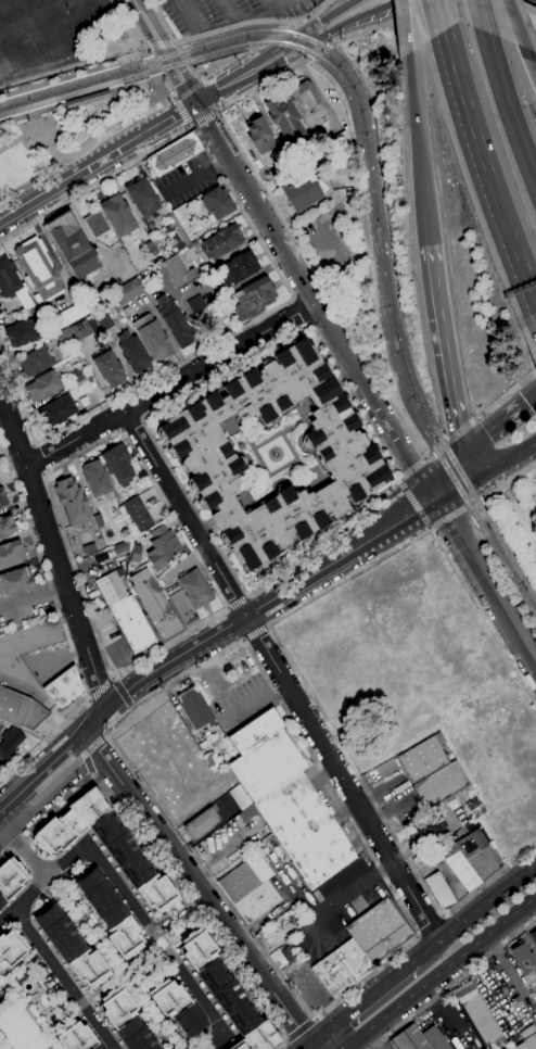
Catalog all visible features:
road: (270, 3)
road: (521, 4)
road: (229, 9)
park: (518, 9)
road: (315, 11)
parking lot: (225, 12)
road: (187, 14)
road: (443, 14)
road: (73, 15)
road: (481, 15)
road: (241, 16)
road: (328, 16)
road: (164, 21)
road: (359, 22)
road: (516, 24)
road: (238, 25)
road: (383, 25)
road: (405, 26)
road: (131, 27)
road: (50, 28)
parking lot: (47, 34)
road: (176, 42)
road: (305, 42)
road: (162, 46)
road: (146, 48)
road: (167, 48)
road: (10, 50)
road: (320, 50)
road: (159, 52)
road: (131, 58)
road: (532, 60)
railway: (117, 62)
road: (154, 66)
road: (246, 74)
road: (143, 83)
road: (265, 84)
road: (166, 87)
railway: (127, 88)
road: (174, 97)
building: (88, 99)
traffic signals: (195, 101)
building: (307, 104)
road: (508, 108)
road: (183, 111)
road: (217, 112)
road: (413, 117)
building: (285, 118)
road: (204, 119)
road: (192, 126)
building: (259, 135)
road: (86, 146)
building: (335, 147)
building: (174, 154)
road: (97, 160)
railway: (378, 160)
building: (302, 163)
road: (485, 168)
building: (286, 173)
railway: (371, 179)
parking lot: (187, 181)
building: (305, 190)
building: (142, 198)
building: (217, 203)
road: (425, 208)
building: (117, 215)
building: (97, 224)
building: (175, 231)
building: (222, 241)
building: (74, 247)
building: (238, 268)
building: (38, 269)
building: (179, 270)
building: (12, 283)
road: (323, 288)
road: (290, 290)
building: (128, 291)
road: (312, 296)
building: (254, 299)
building: (196, 304)
road: (301, 311)
building: (65, 317)
building: (174, 320)
building: (104, 321)
building: (80, 329)
building: (22, 332)
building: (63, 336)
building: (152, 338)
road: (444, 350)
building: (132, 352)
building: (35, 363)
building: (109, 368)
road: (173, 386)
building: (43, 387)
road: (506, 396)
road: (527, 403)
building: (56, 410)
road: (132, 425)
road: (489, 429)
road: (461, 430)
road: (20, 447)
road: (441, 447)
fountain: (276, 453)
building: (348, 455)
road: (43, 456)
road: (507, 456)
road: (425, 457)
traffic signals: (475, 463)
building: (117, 465)
road: (412, 468)
road: (14, 475)
road: (398, 478)
road: (454, 478)
building: (95, 479)
road: (511, 479)
road: (397, 480)
road: (30, 482)
road: (390, 488)
traffic signals: (432, 493)
road: (484, 496)
building: (2, 498)
road: (51, 498)
building: (72, 502)
road: (413, 503)
road: (478, 508)
building: (137, 513)
road: (455, 513)
road: (470, 514)
building: (99, 520)
building: (7, 527)
road: (427, 527)
building: (162, 546)
building: (122, 547)
road: (54, 548)
building: (89, 548)
building: (11, 554)
road: (502, 577)
road: (485, 578)
building: (15, 581)
building: (195, 589)
road: (248, 595)
road: (33, 596)
road: (269, 601)
road: (238, 602)
building: (154, 604)
building: (181, 605)
road: (228, 606)
building: (125, 611)
road: (62, 624)
road: (268, 625)
road: (255, 631)
road: (244, 640)
road: (227, 650)
road: (284, 653)
road: (12, 661)
road: (113, 677)
road: (283, 677)
building: (64, 687)
road: (101, 688)
road: (120, 692)
road: (88, 699)
road: (131, 707)
building: (195, 708)
building: (20, 709)
road: (105, 736)
building: (10, 742)
road: (94, 745)
building: (265, 755)
building: (423, 758)
road: (54, 761)
road: (88, 762)
building: (386, 770)
road: (89, 776)
building: (441, 786)
building: (240, 797)
road: (51, 799)
building: (248, 813)
building: (202, 823)
building: (425, 827)
building: (304, 830)
building: (106, 846)
road: (22, 848)
building: (462, 857)
building: (414, 859)
road: (156, 863)
building: (245, 877)
building: (10, 879)
building: (439, 890)
road: (203, 895)
road: (23, 900)
building: (257, 901)
road: (475, 912)
building: (111, 913)
building: (288, 914)
road: (22, 920)
road: (430, 924)
road: (151, 926)
building: (533, 936)
building: (363, 947)
building: (11, 948)
building: (72, 948)
building: (279, 953)
building: (524, 959)
road: (441, 972)
road: (510, 973)
building: (218, 981)
road: (455, 984)
road: (73, 989)
road: (366, 999)
building: (177, 1007)
building: (477, 1015)
road: (316, 1019)
building: (125, 1020)
road: (301, 1029)
building: (76, 1036)
building: (258, 1038)
building: (435, 1038)
building: (527, 1038)
building: (410, 1039)
road: (286, 1040)
road: (310, 1045)
building: (495, 1046)

